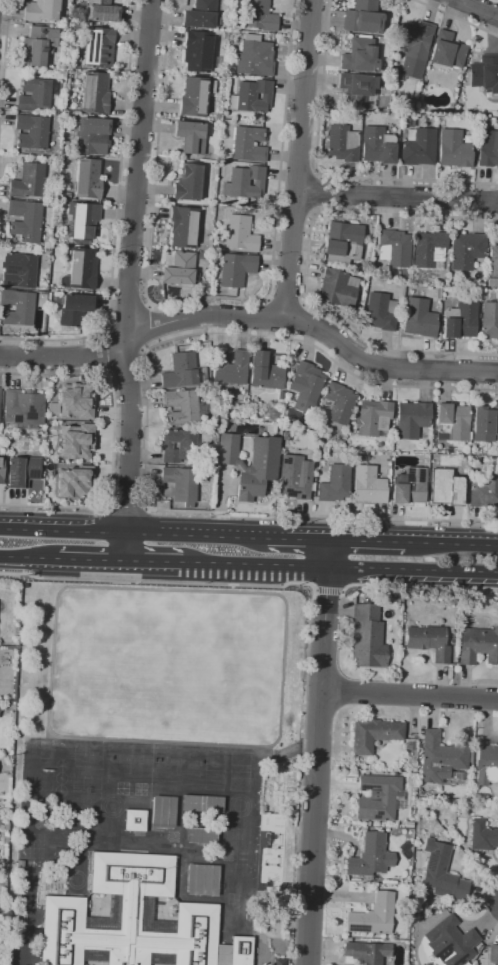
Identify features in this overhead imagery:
road: (477, 8)
building: (41, 10)
building: (102, 10)
road: (4, 11)
building: (202, 15)
building: (260, 15)
building: (363, 17)
road: (454, 17)
building: (38, 45)
building: (98, 47)
building: (414, 47)
building: (447, 50)
building: (198, 51)
road: (4, 54)
building: (360, 55)
building: (255, 56)
road: (2, 61)
building: (230, 70)
building: (485, 73)
building: (359, 90)
building: (36, 93)
building: (95, 93)
building: (196, 96)
building: (252, 96)
building: (219, 117)
building: (32, 131)
building: (92, 136)
building: (191, 136)
building: (342, 143)
building: (248, 144)
building: (378, 145)
building: (419, 147)
building: (488, 148)
building: (454, 149)
road: (297, 159)
road: (138, 169)
road: (321, 173)
building: (87, 179)
building: (28, 181)
building: (188, 182)
building: (245, 184)
road: (396, 197)
building: (50, 205)
road: (116, 218)
building: (82, 220)
building: (25, 221)
building: (184, 227)
building: (240, 234)
building: (343, 242)
building: (395, 248)
building: (429, 250)
building: (466, 250)
building: (203, 256)
building: (494, 261)
building: (82, 268)
road: (307, 268)
building: (180, 269)
building: (236, 269)
building: (19, 270)
building: (338, 288)
road: (205, 298)
road: (285, 300)
building: (18, 307)
building: (73, 308)
building: (381, 312)
road: (269, 318)
building: (419, 318)
building: (489, 319)
building: (460, 320)
road: (306, 324)
road: (315, 328)
road: (110, 351)
road: (66, 357)
building: (230, 367)
building: (183, 371)
building: (266, 371)
building: (306, 386)
building: (0, 394)
building: (77, 402)
building: (340, 403)
building: (184, 407)
building: (23, 408)
building: (276, 410)
rooftop solar panel: (29, 414)
rooftop solar panel: (17, 418)
building: (374, 418)
building: (412, 419)
road: (146, 421)
building: (452, 422)
building: (485, 423)
building: (285, 435)
road: (130, 436)
road: (112, 439)
building: (78, 442)
building: (179, 446)
building: (251, 463)
building: (1, 469)
building: (22, 472)
rooftop solar panel: (32, 475)
building: (295, 477)
rooftop solar panel: (8, 478)
building: (71, 483)
building: (335, 483)
building: (182, 484)
building: (369, 485)
building: (409, 486)
building: (447, 487)
building: (485, 489)
road: (126, 509)
road: (63, 530)
road: (196, 535)
road: (298, 539)
road: (366, 540)
road: (451, 543)
road: (126, 546)
road: (29, 556)
road: (92, 558)
road: (153, 560)
road: (255, 563)
road: (413, 568)
road: (415, 586)
road: (326, 590)
road: (309, 618)
building: (366, 637)
building: (429, 641)
building: (479, 645)
road: (51, 646)
road: (410, 698)
building: (374, 734)
road: (319, 752)
building: (439, 759)
building: (486, 763)
building: (378, 797)
building: (207, 805)
building: (138, 822)
building: (204, 836)
building: (483, 837)
building: (370, 857)
rooftop solar panel: (431, 861)
building: (441, 873)
building: (207, 881)
building: (371, 917)
building: (134, 920)
rooftop solar panel: (359, 930)
building: (450, 942)
building: (244, 950)
building: (367, 951)
rooftop solar panel: (442, 952)
building: (493, 954)
rooftop solar panel: (457, 962)

